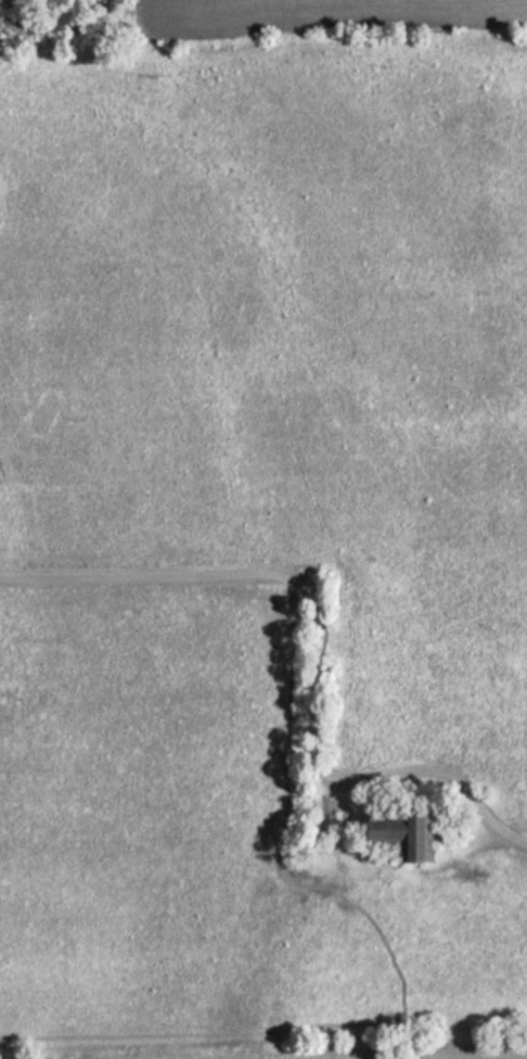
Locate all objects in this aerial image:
road: (317, 642)
building: (400, 837)

